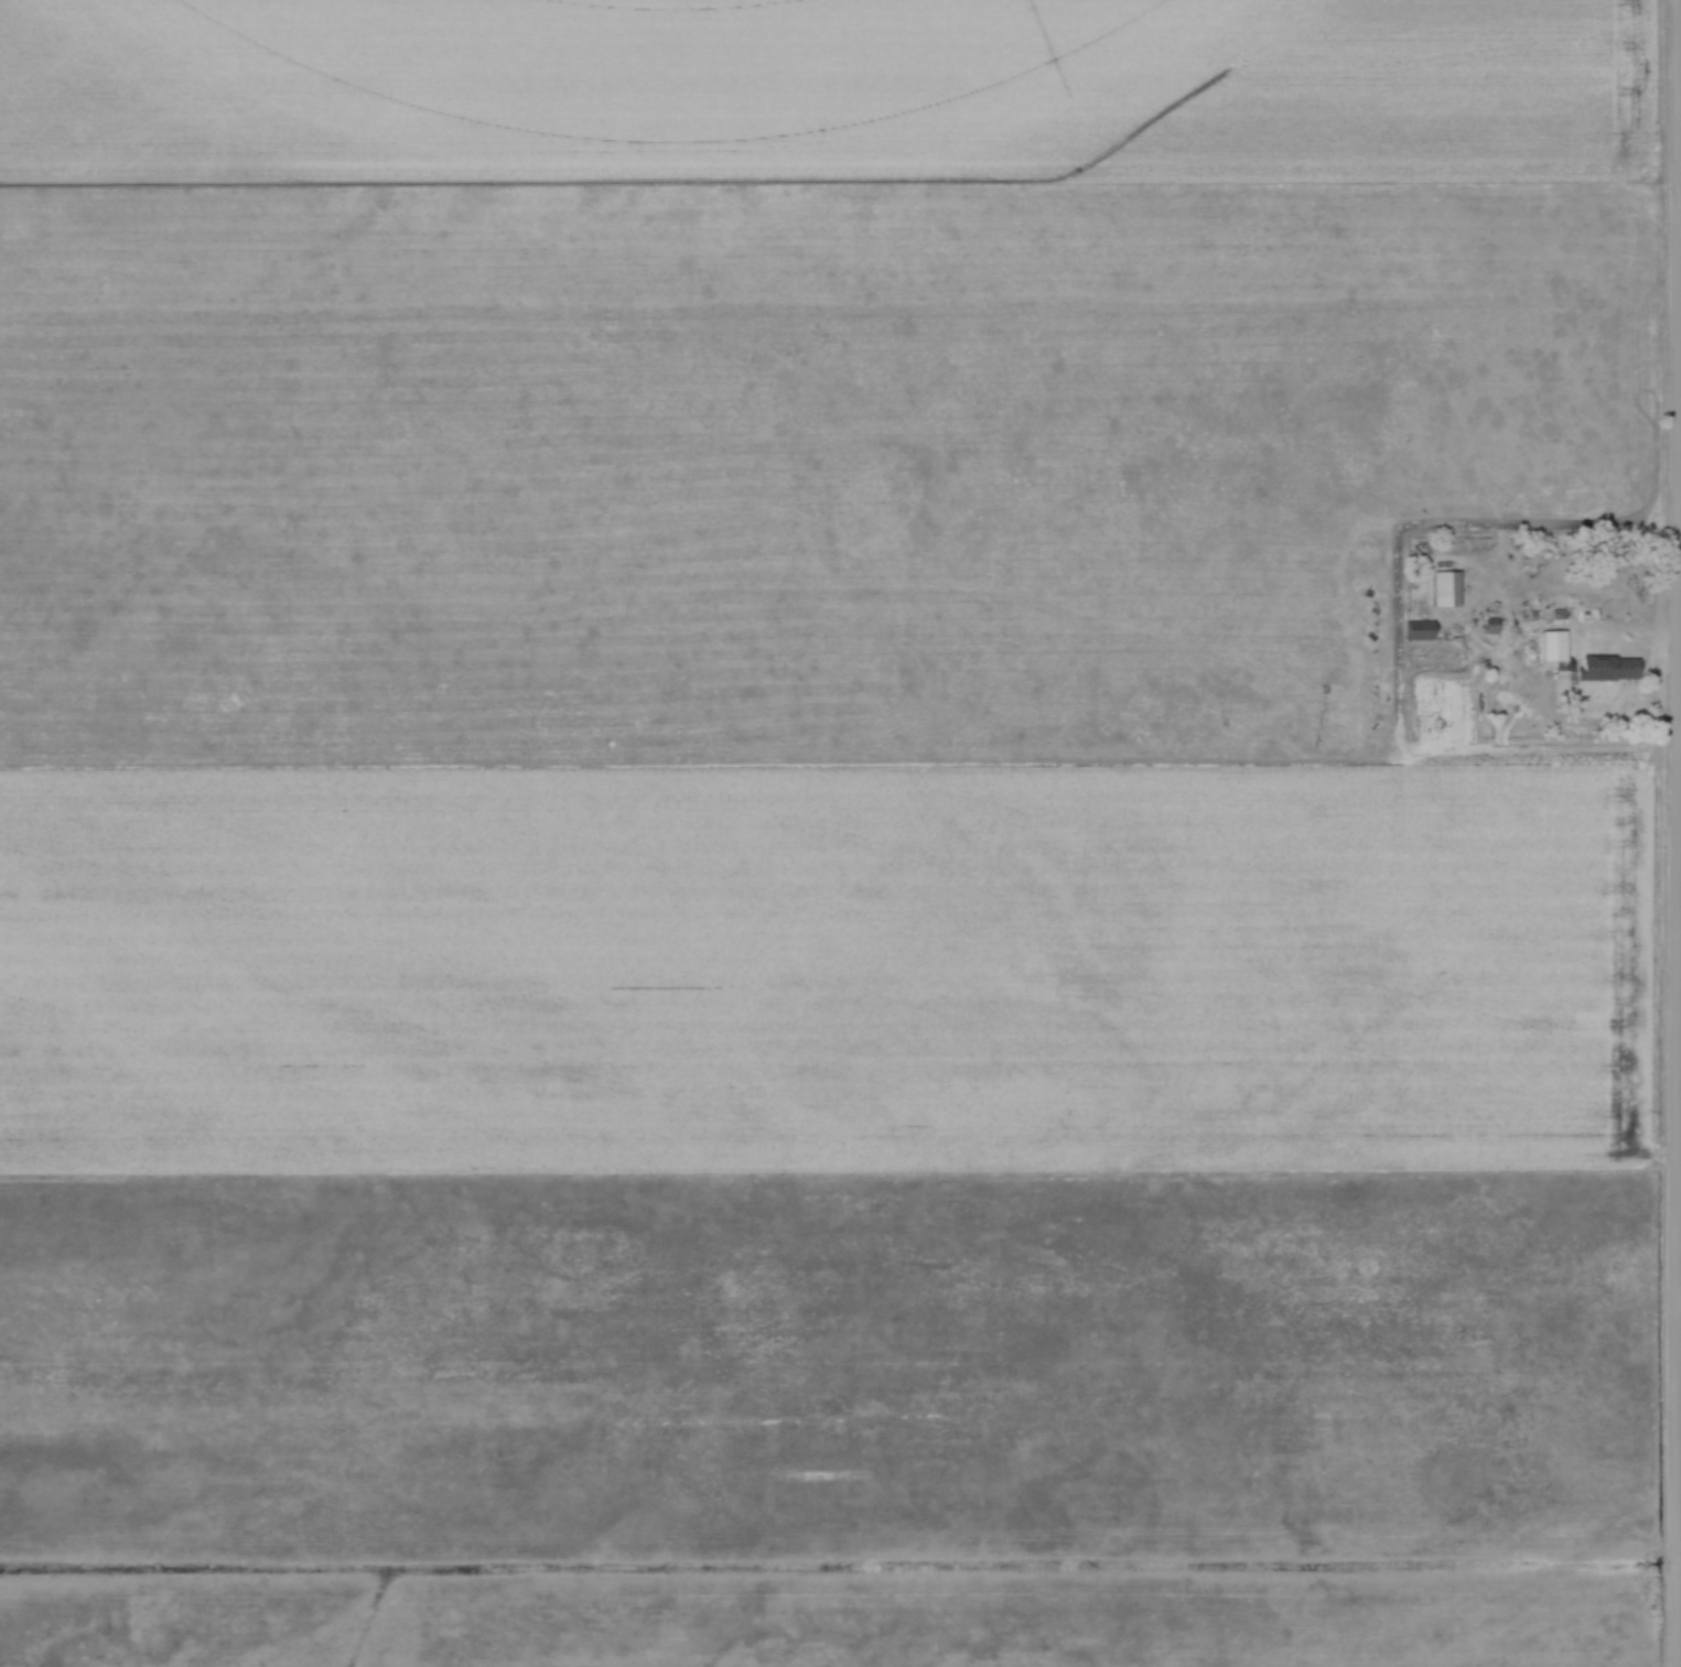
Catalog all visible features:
road: (1680, 203)
building: (1442, 589)
building: (1418, 631)
building: (1551, 648)
building: (1605, 669)
road: (1593, 722)
road: (1679, 833)
road: (1678, 1289)

